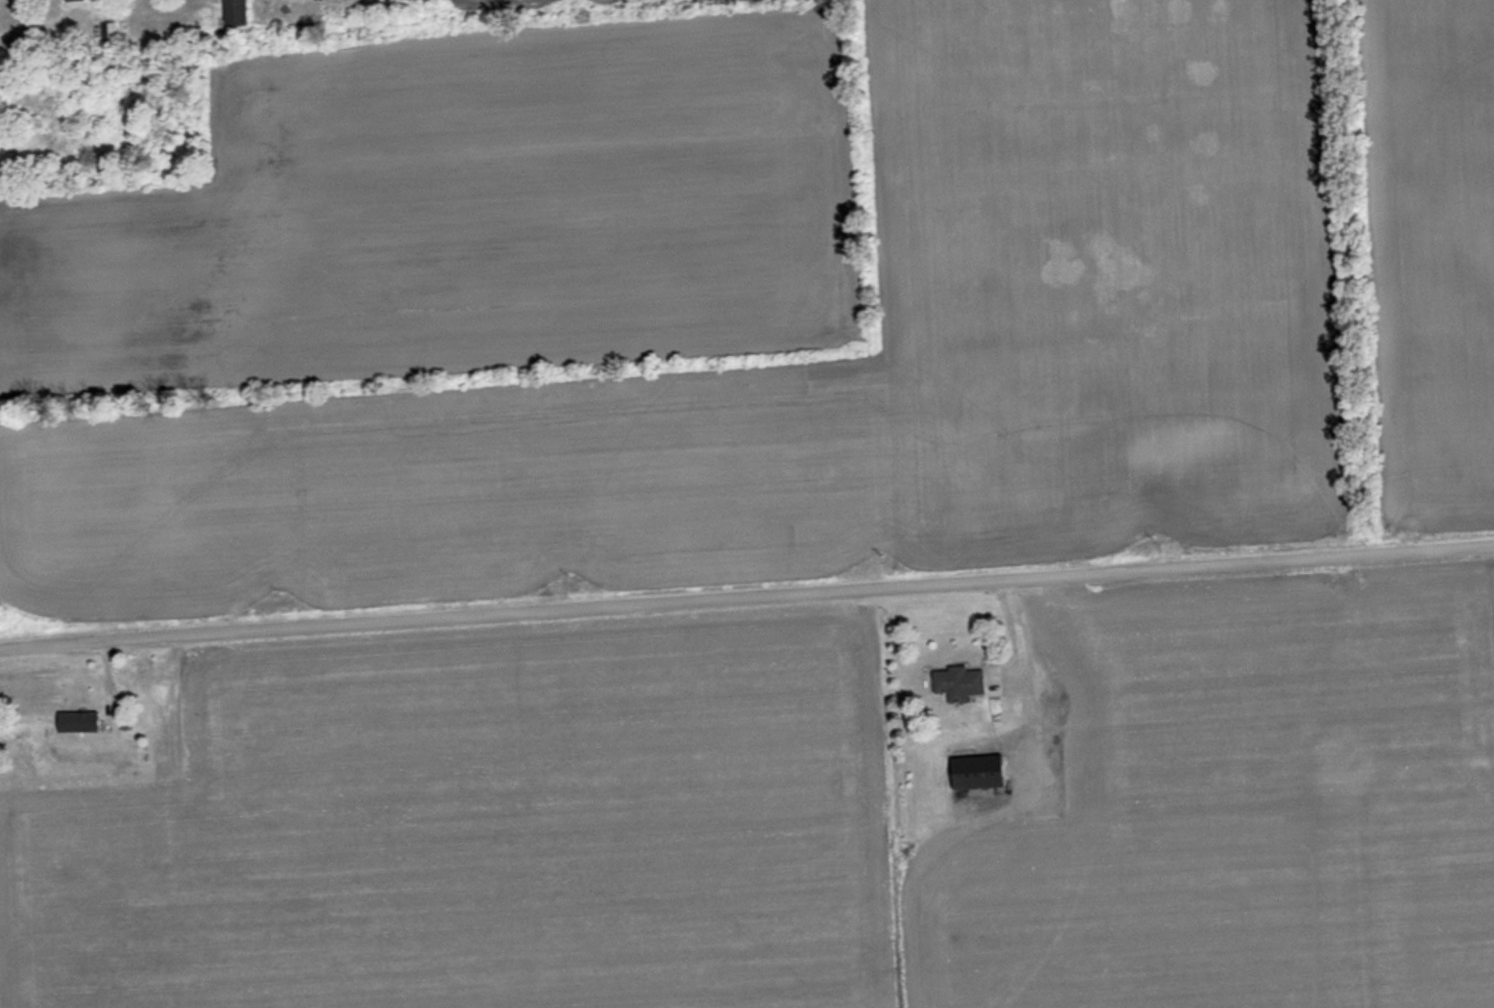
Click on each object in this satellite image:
building: (234, 12)
road: (36, 22)
building: (110, 30)
road: (746, 595)
building: (958, 683)
road: (1028, 686)
building: (77, 721)
building: (976, 771)

